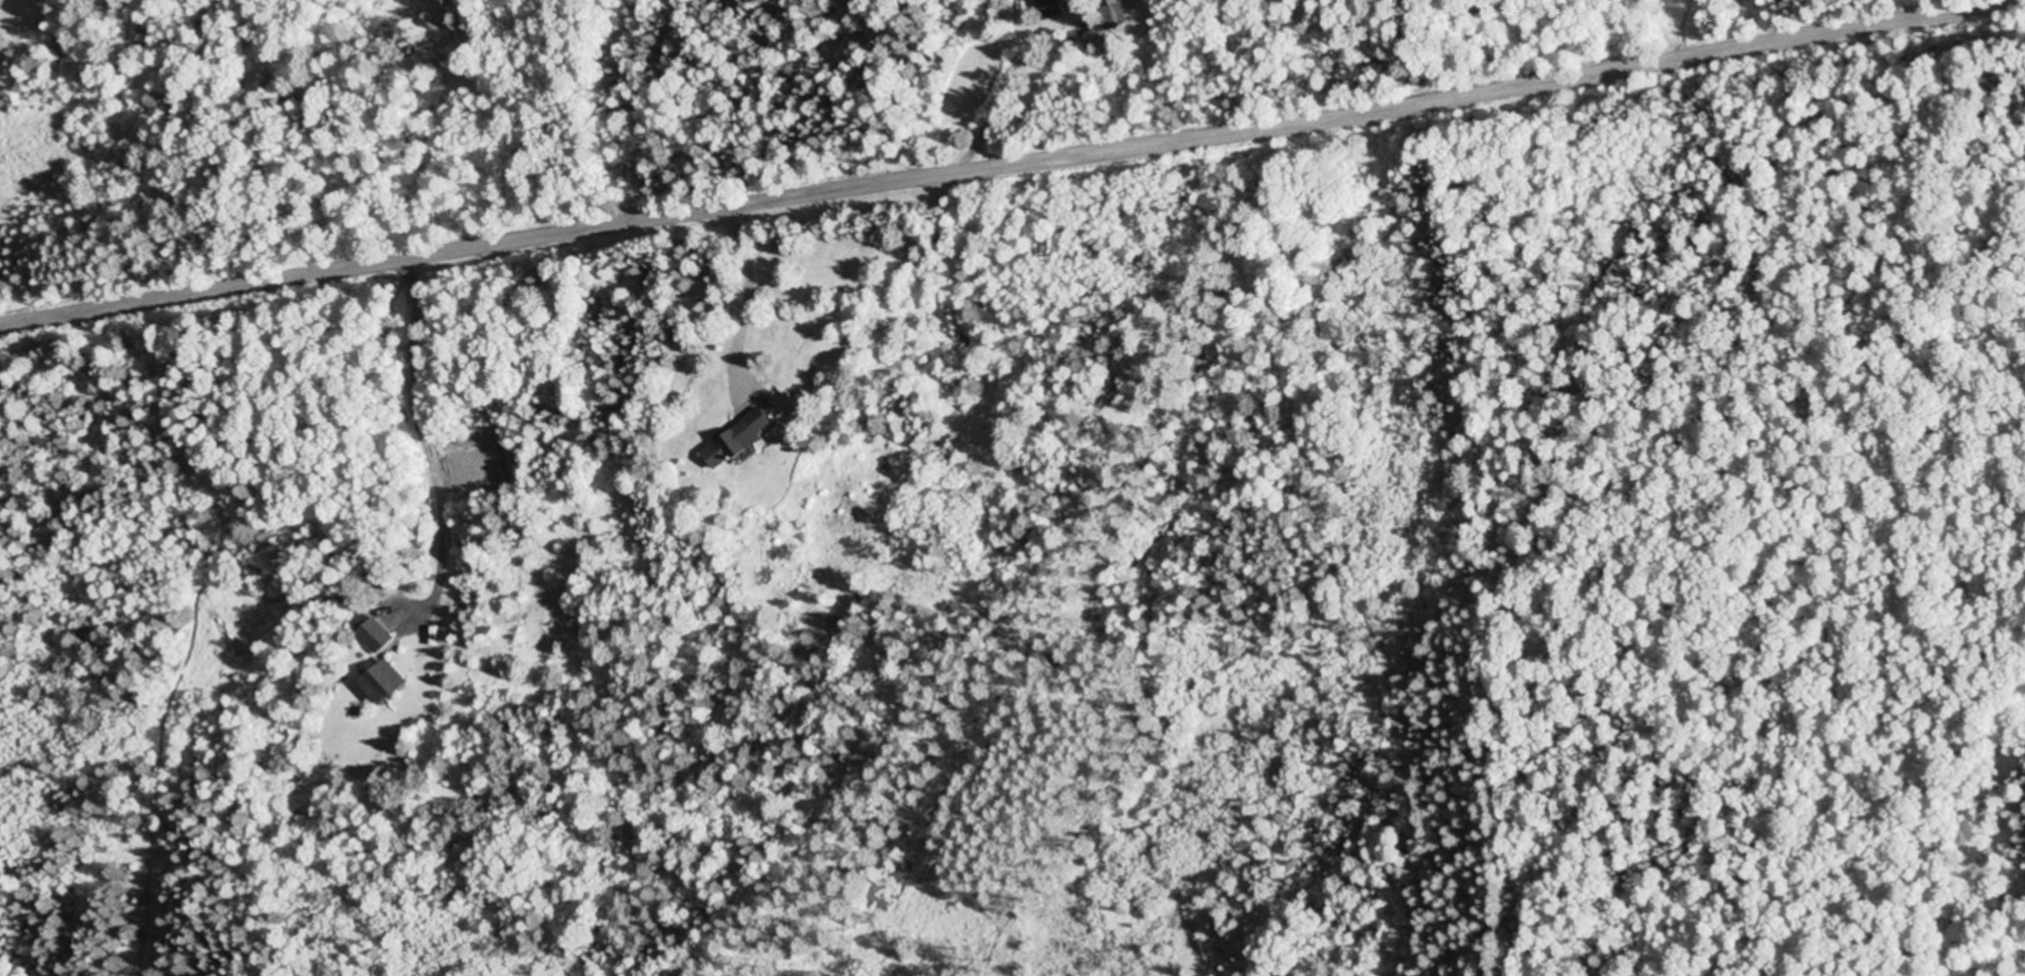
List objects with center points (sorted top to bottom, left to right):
road: (989, 162)
building: (744, 437)
building: (377, 634)
building: (387, 681)

